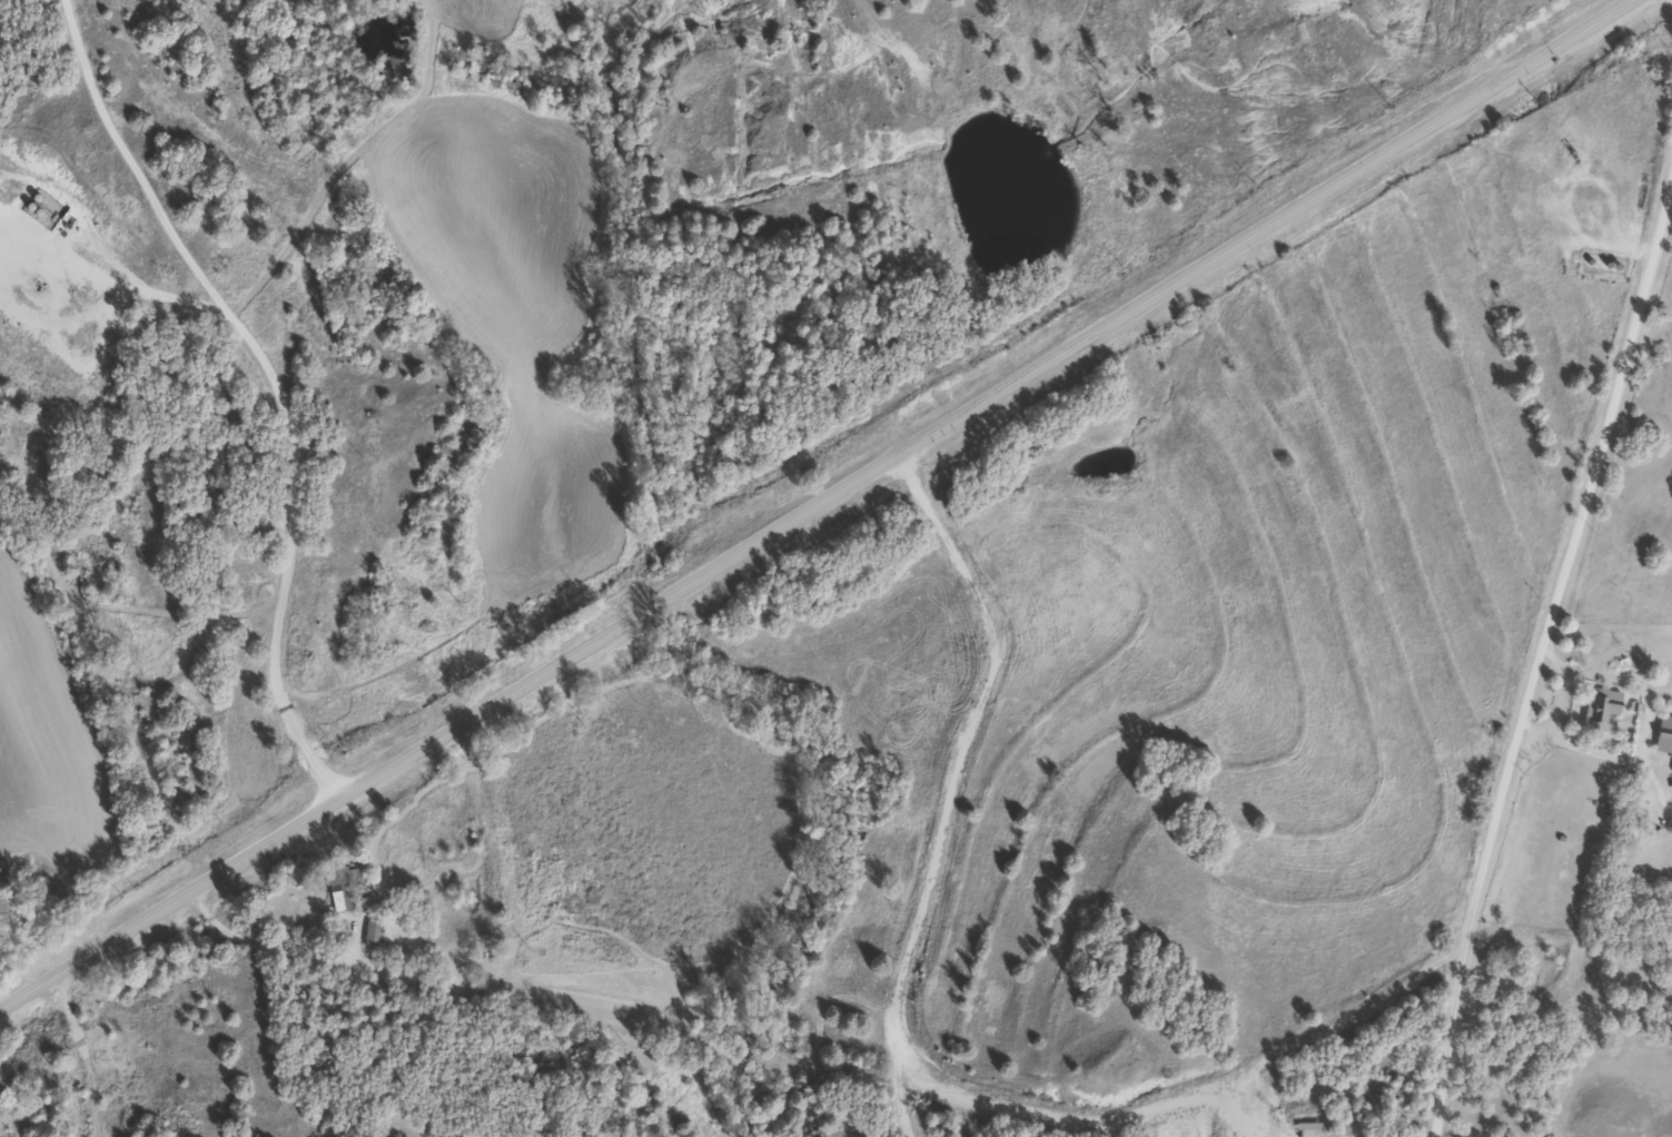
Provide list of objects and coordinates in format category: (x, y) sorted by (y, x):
road: (258, 389)
road: (985, 401)
road: (1547, 671)
building: (1596, 710)
building: (1662, 735)
building: (336, 890)
road: (168, 904)
building: (369, 933)
road: (917, 938)
road: (89, 1052)

